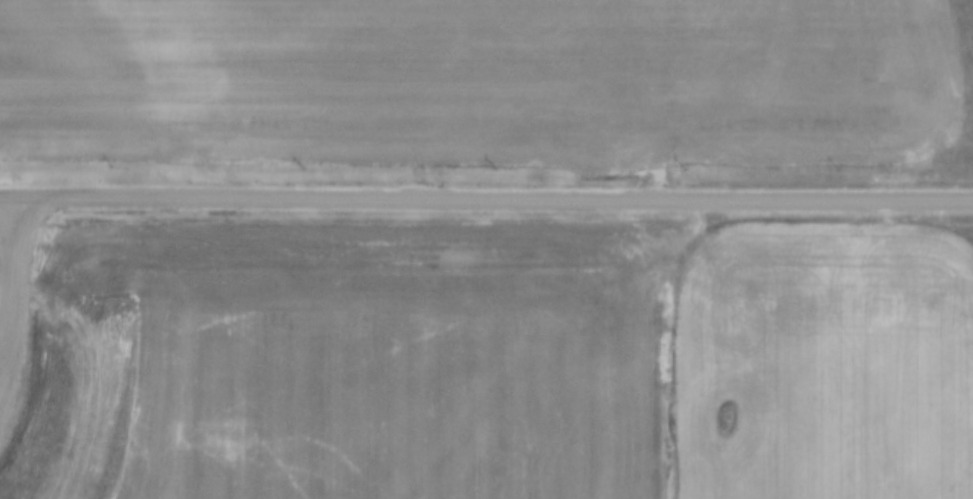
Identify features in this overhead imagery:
road: (486, 202)

